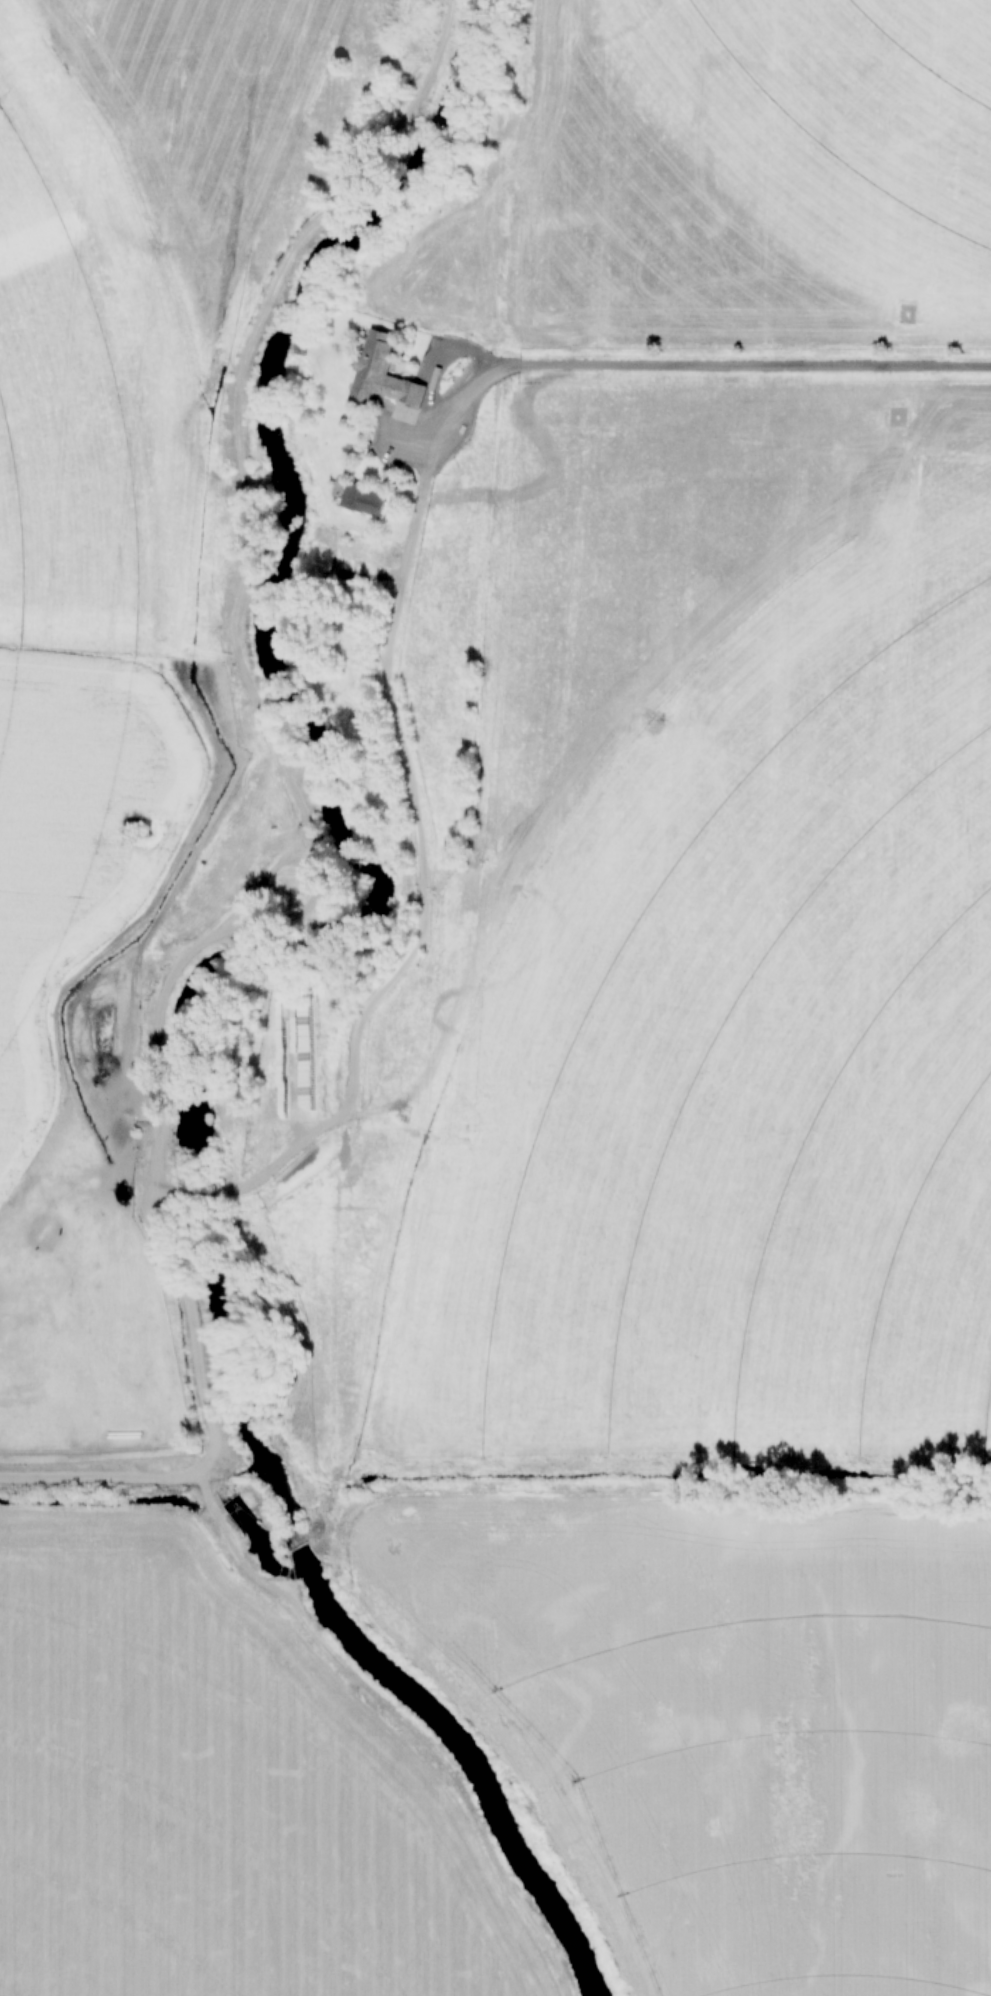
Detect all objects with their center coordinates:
crop: (196, 126)
building: (382, 375)
building: (362, 501)
road: (403, 571)
crop: (82, 574)
river: (236, 978)
building: (263, 1108)
road: (196, 1193)
road: (212, 1418)
road: (399, 1721)

